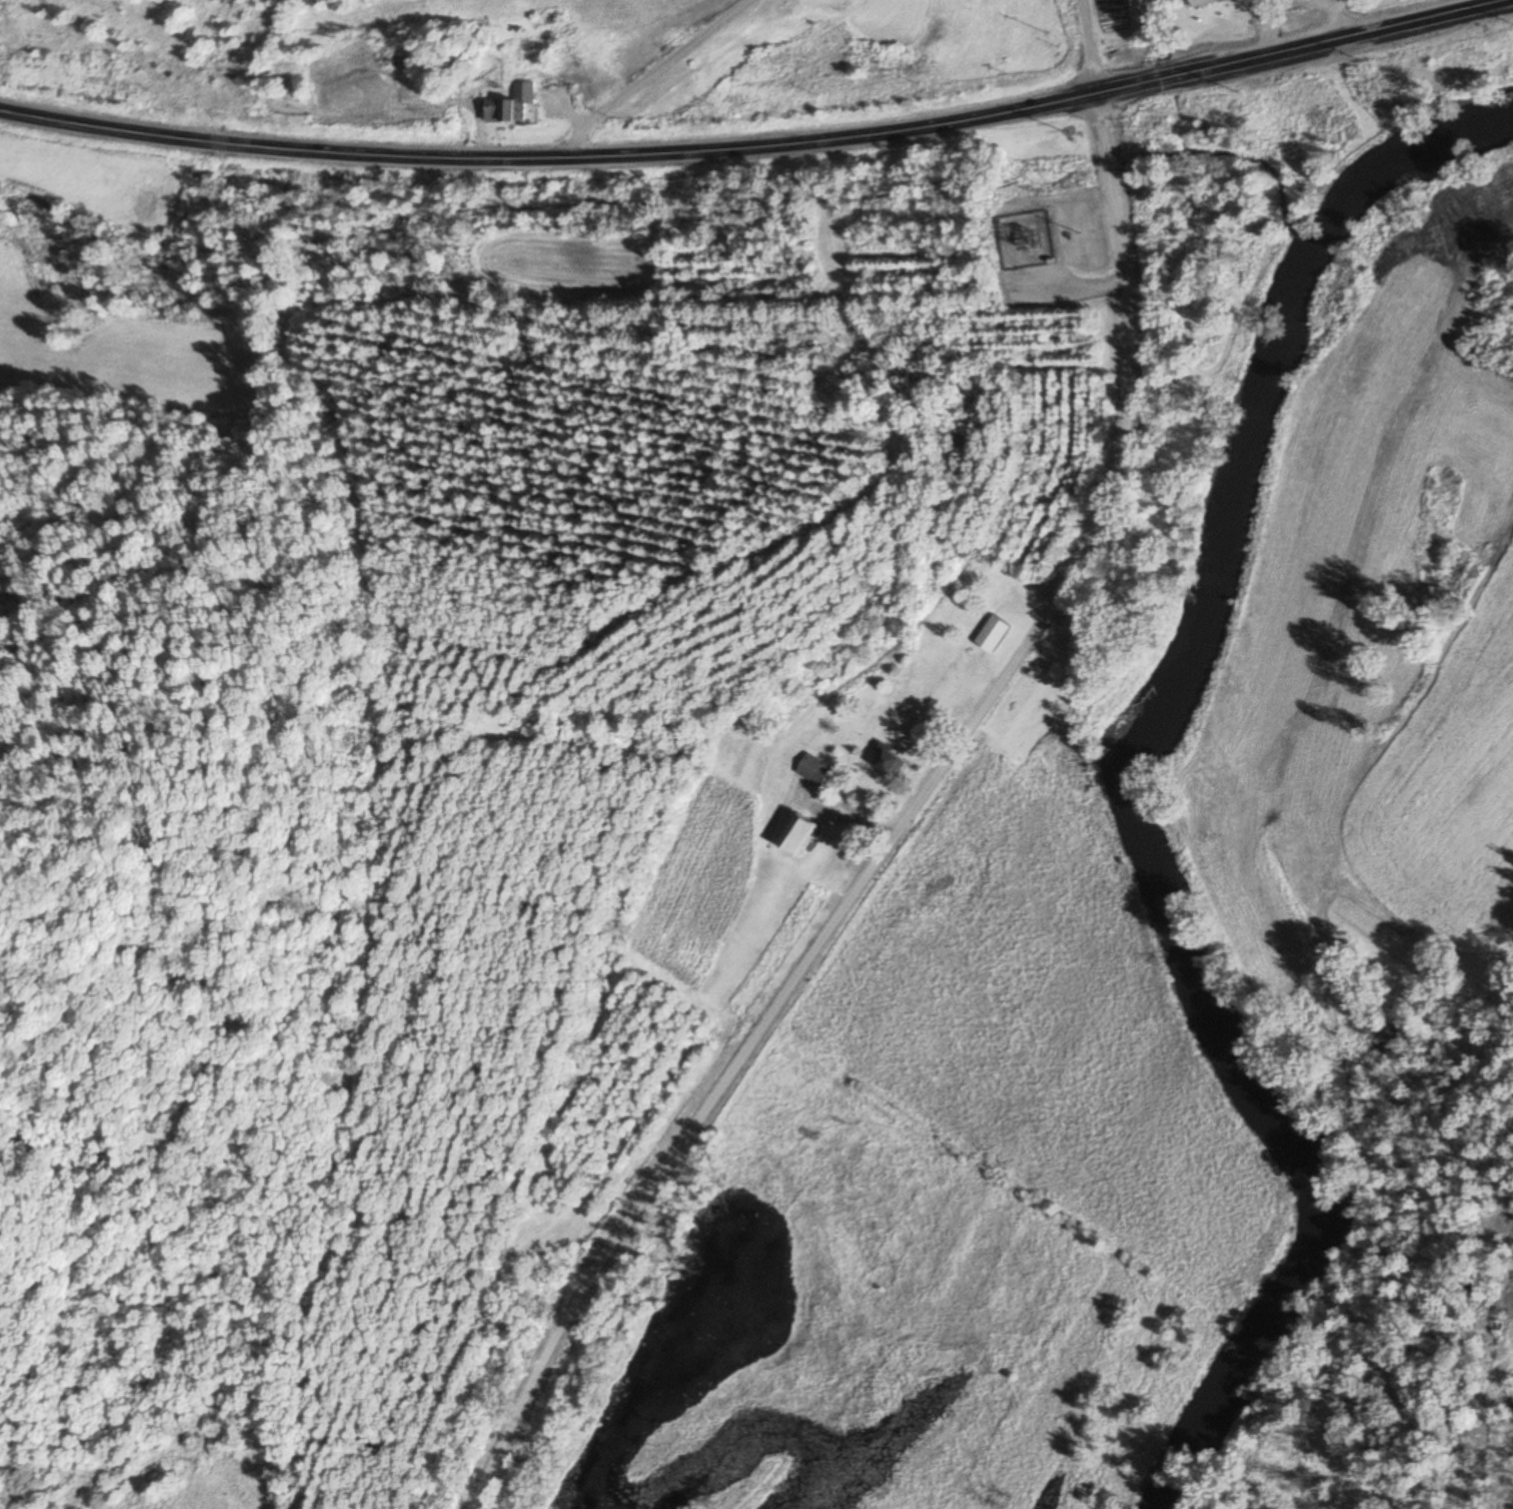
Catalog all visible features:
building: (1197, 1)
road: (1323, 26)
road: (1089, 49)
road: (646, 74)
building: (512, 106)
road: (760, 151)
building: (992, 634)
building: (889, 764)
building: (814, 770)
river: (1130, 780)
road: (898, 830)
building: (799, 835)

